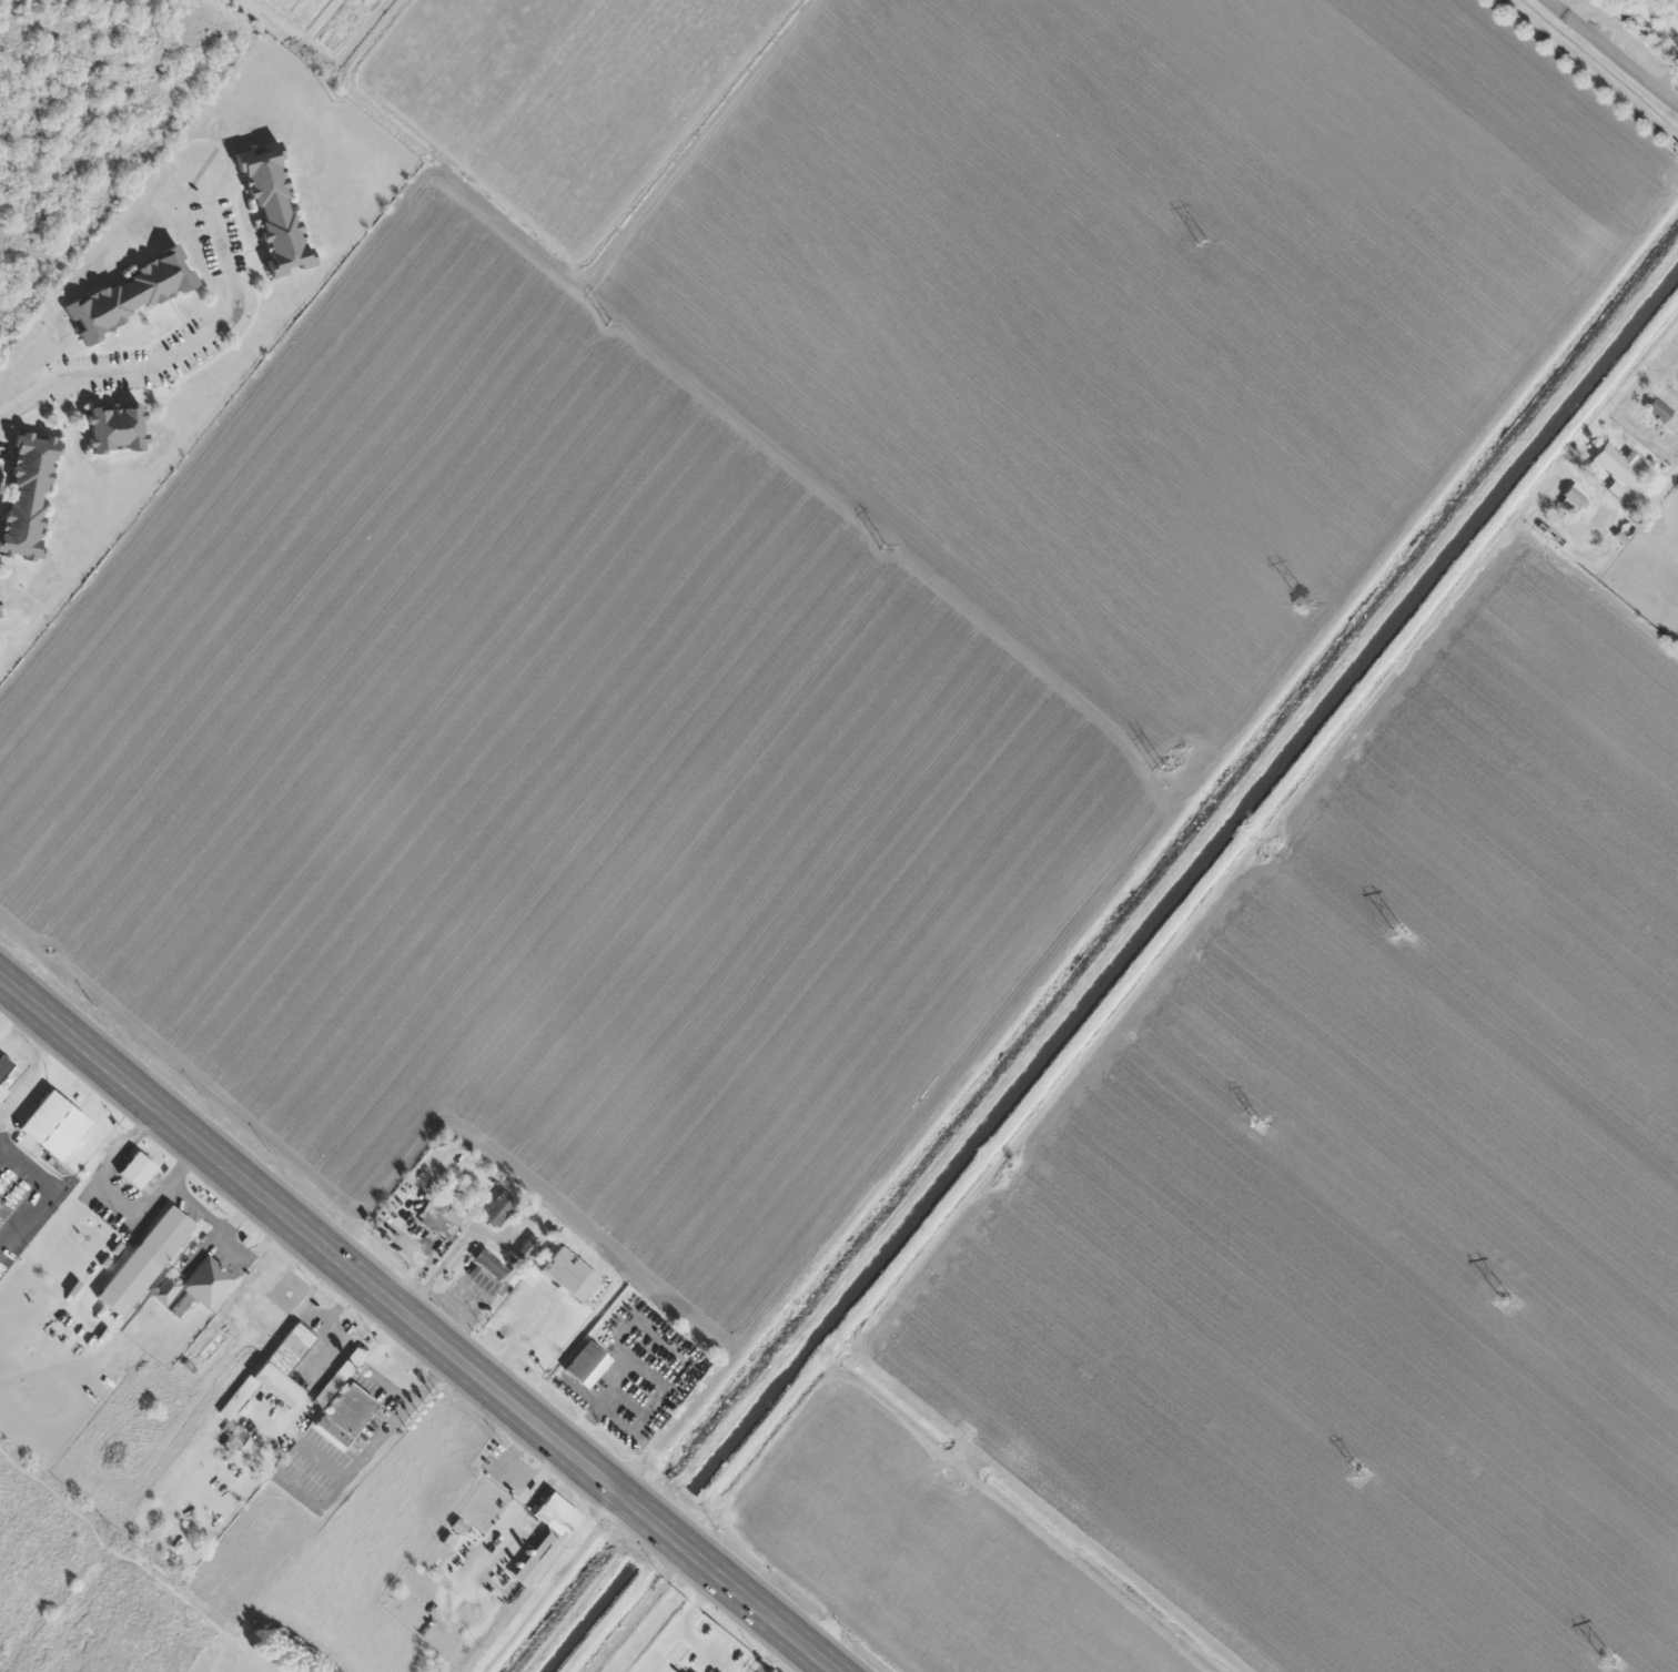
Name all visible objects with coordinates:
road: (1611, 53)
power tower: (334, 99)
building: (273, 209)
power tower: (1202, 241)
building: (129, 294)
power tower: (608, 322)
road: (188, 342)
building: (1652, 413)
building: (114, 428)
building: (1617, 463)
building: (27, 493)
building: (1575, 495)
power tower: (885, 546)
power tower: (1306, 602)
power tower: (1160, 768)
power tower: (1402, 935)
building: (4, 1073)
power tower: (1258, 1121)
building: (51, 1126)
building: (137, 1171)
building: (499, 1209)
building: (438, 1218)
building: (164, 1236)
building: (528, 1249)
building: (489, 1264)
building: (198, 1284)
power tower: (1507, 1299)
road: (415, 1331)
building: (586, 1366)
building: (338, 1378)
building: (266, 1384)
building: (351, 1411)
power tower: (1361, 1475)
building: (546, 1536)
road: (548, 1583)
road: (826, 1633)
building: (694, 1659)
power tower: (1609, 1662)

